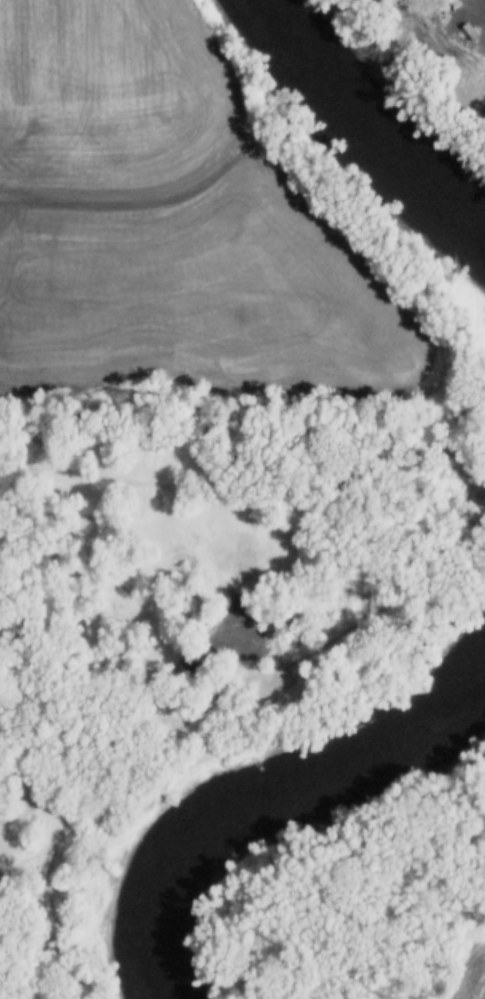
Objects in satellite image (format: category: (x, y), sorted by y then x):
river: (281, 39)
river: (401, 181)
river: (286, 798)
crop: (470, 975)
river: (150, 986)

